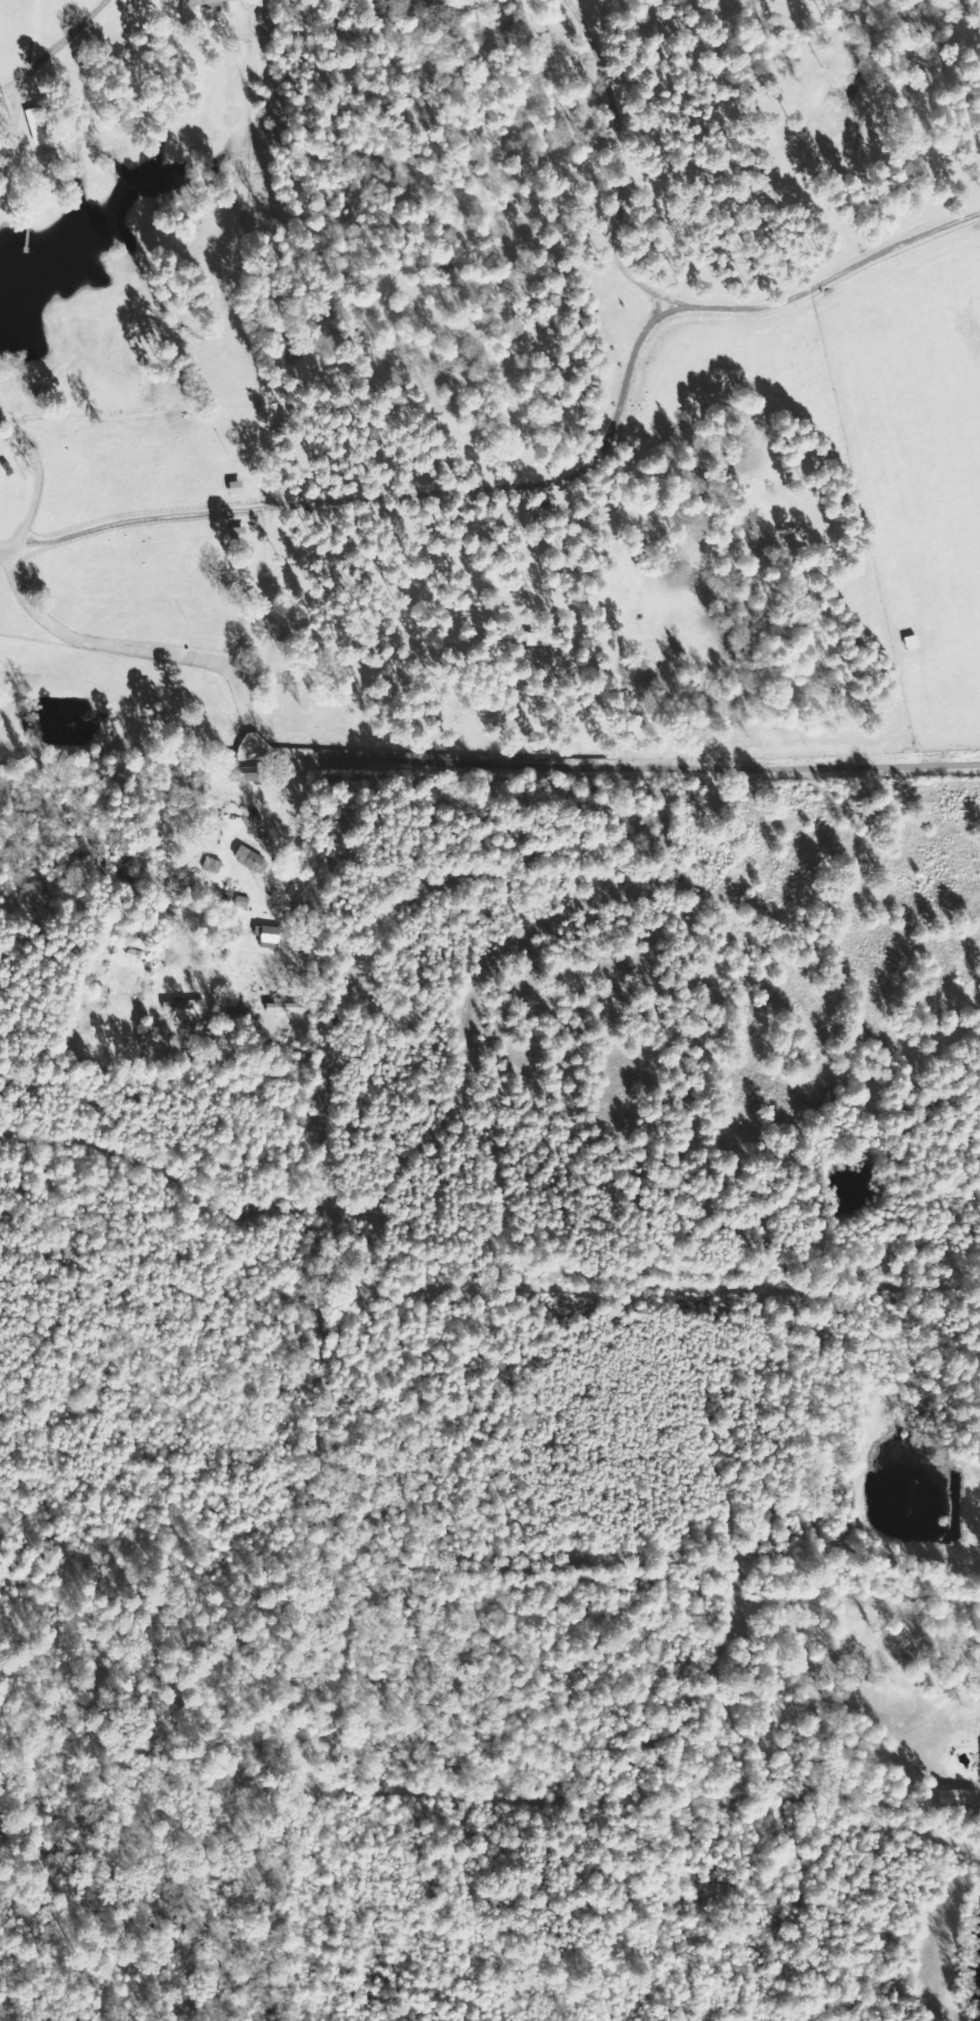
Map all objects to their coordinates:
building: (180, 0)
building: (203, 3)
road: (60, 42)
road: (15, 77)
road: (7, 85)
road: (3, 556)
road: (354, 757)
building: (251, 861)
building: (241, 902)
building: (268, 935)
road: (865, 1617)
building: (957, 1798)

